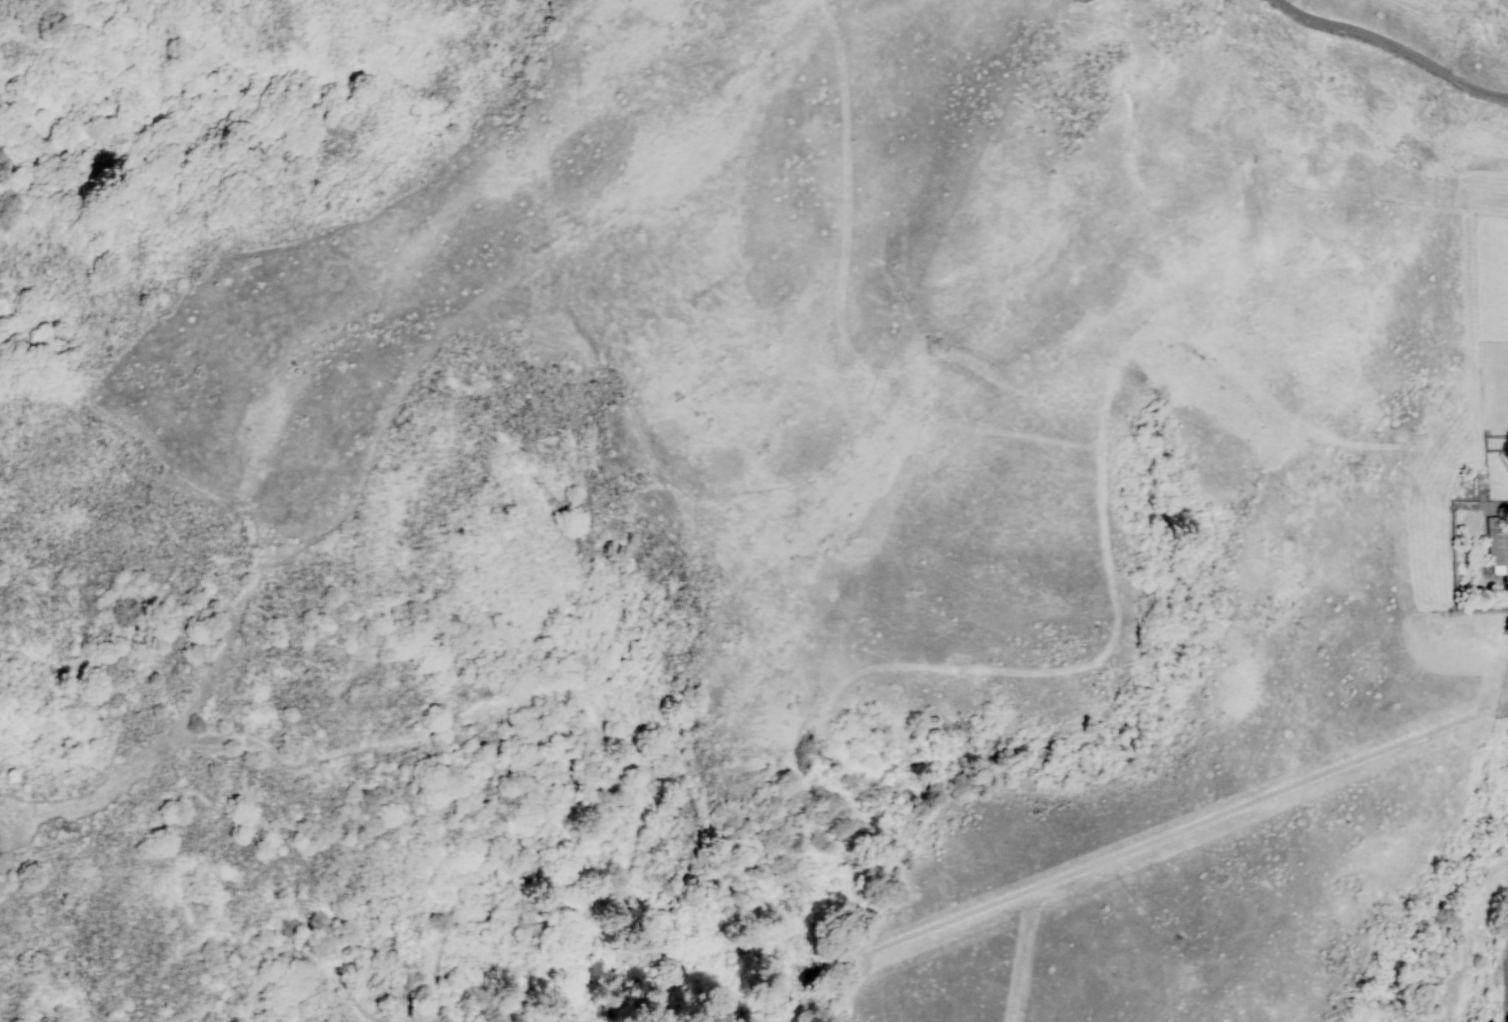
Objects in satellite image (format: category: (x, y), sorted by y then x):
road: (1340, 26)
road: (1453, 79)
building: (1495, 545)

